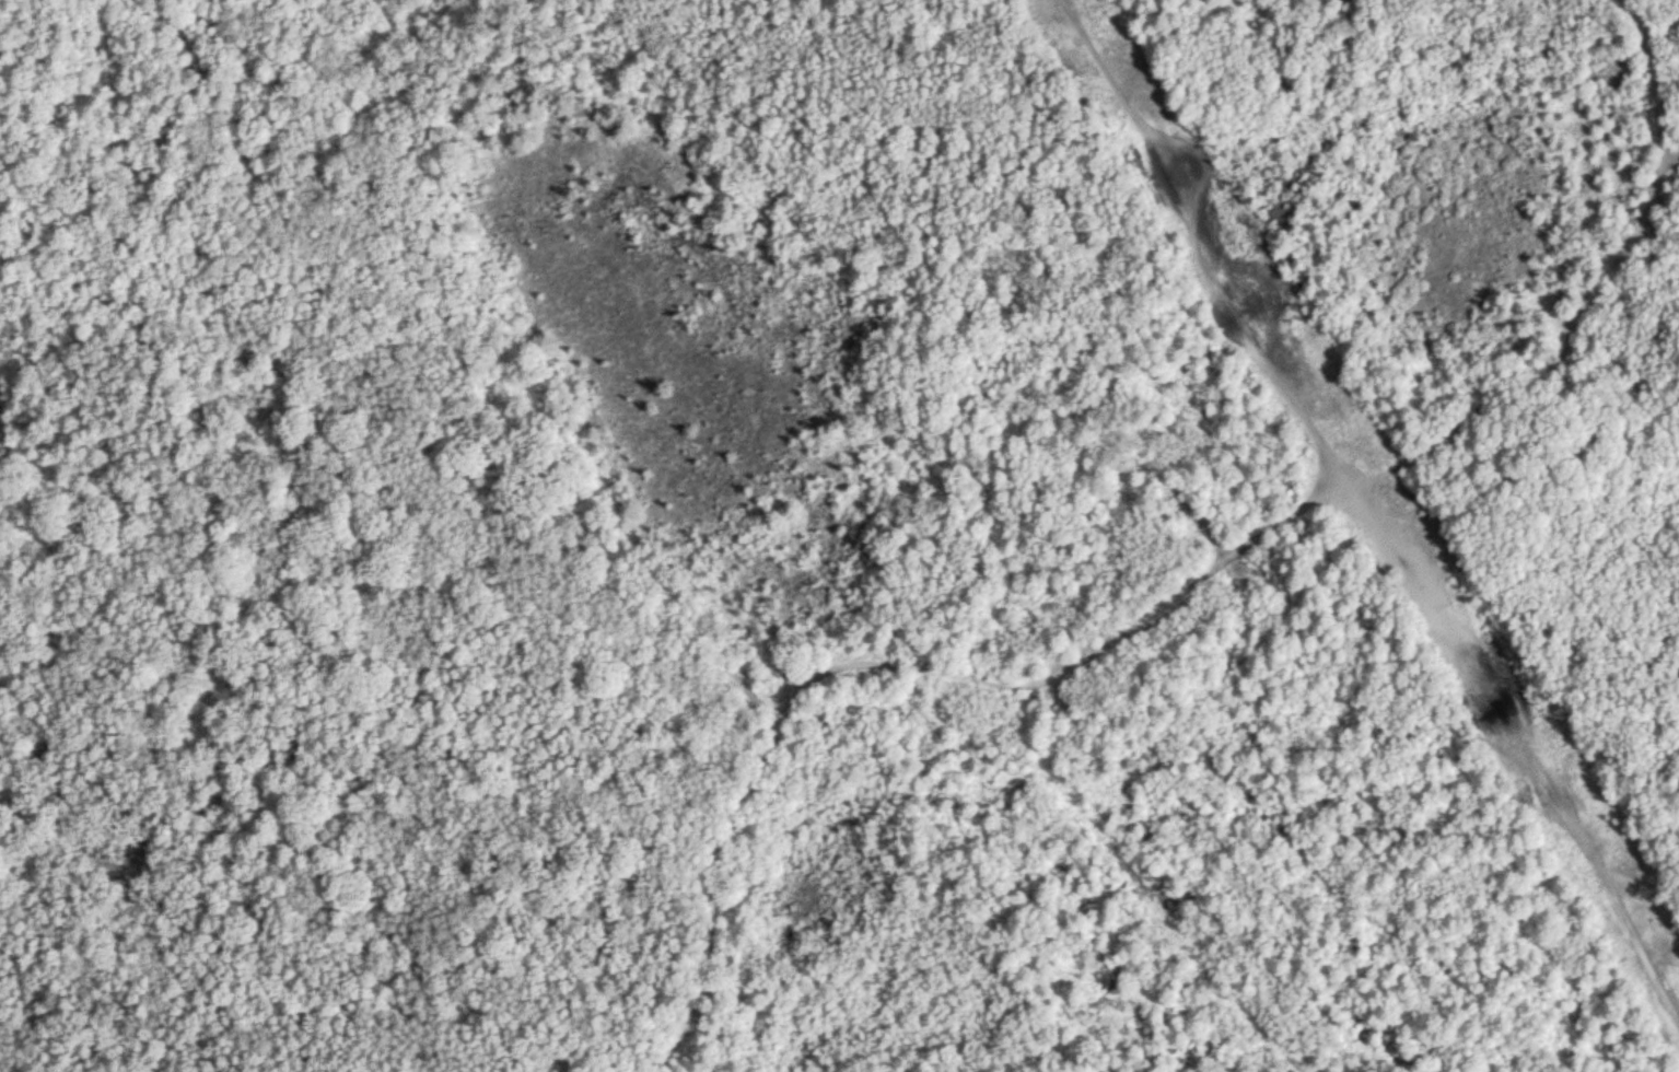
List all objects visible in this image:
road: (1585, 298)
road: (1297, 506)
road: (590, 568)
road: (1511, 754)

